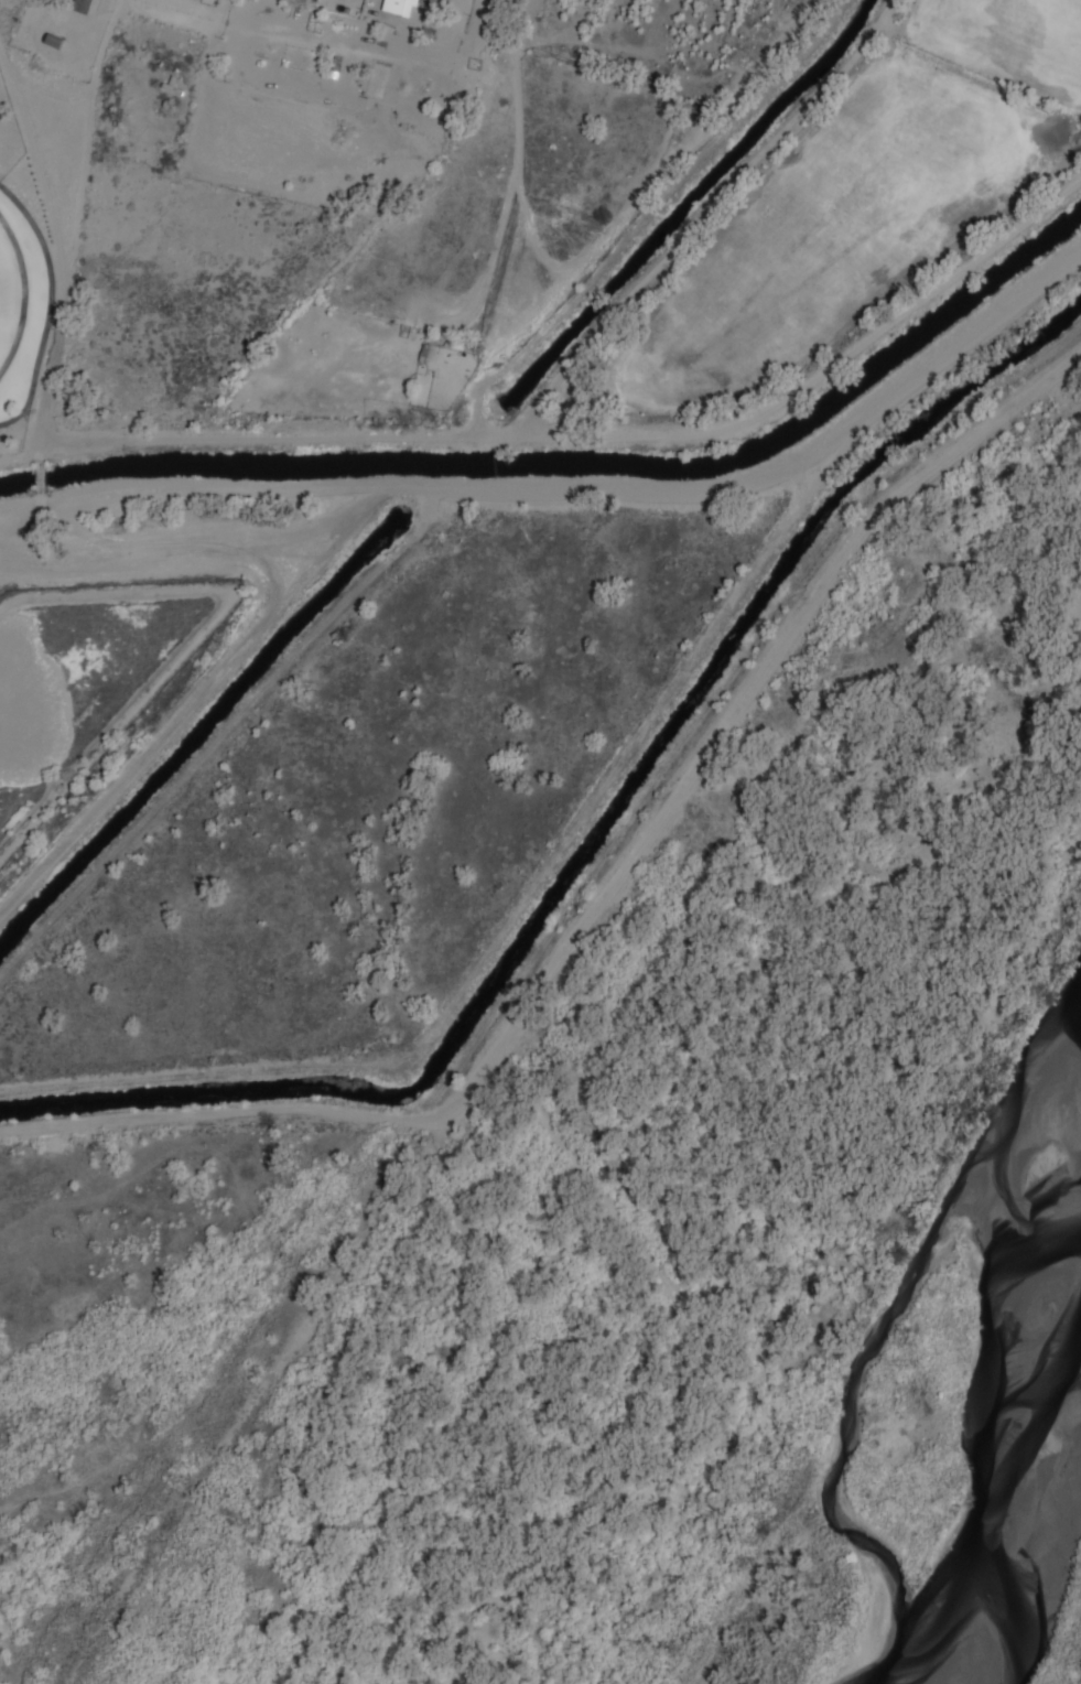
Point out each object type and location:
building: (307, 1)
building: (399, 7)
building: (53, 40)
park: (9, 292)
river: (968, 1431)

